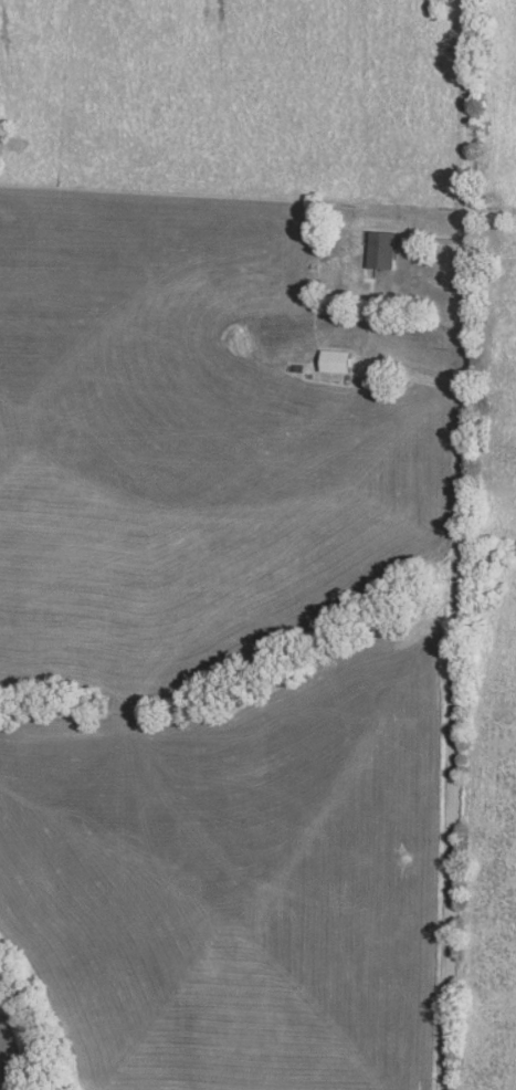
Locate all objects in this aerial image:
building: (383, 249)
road: (392, 329)
building: (338, 360)
road: (459, 545)

